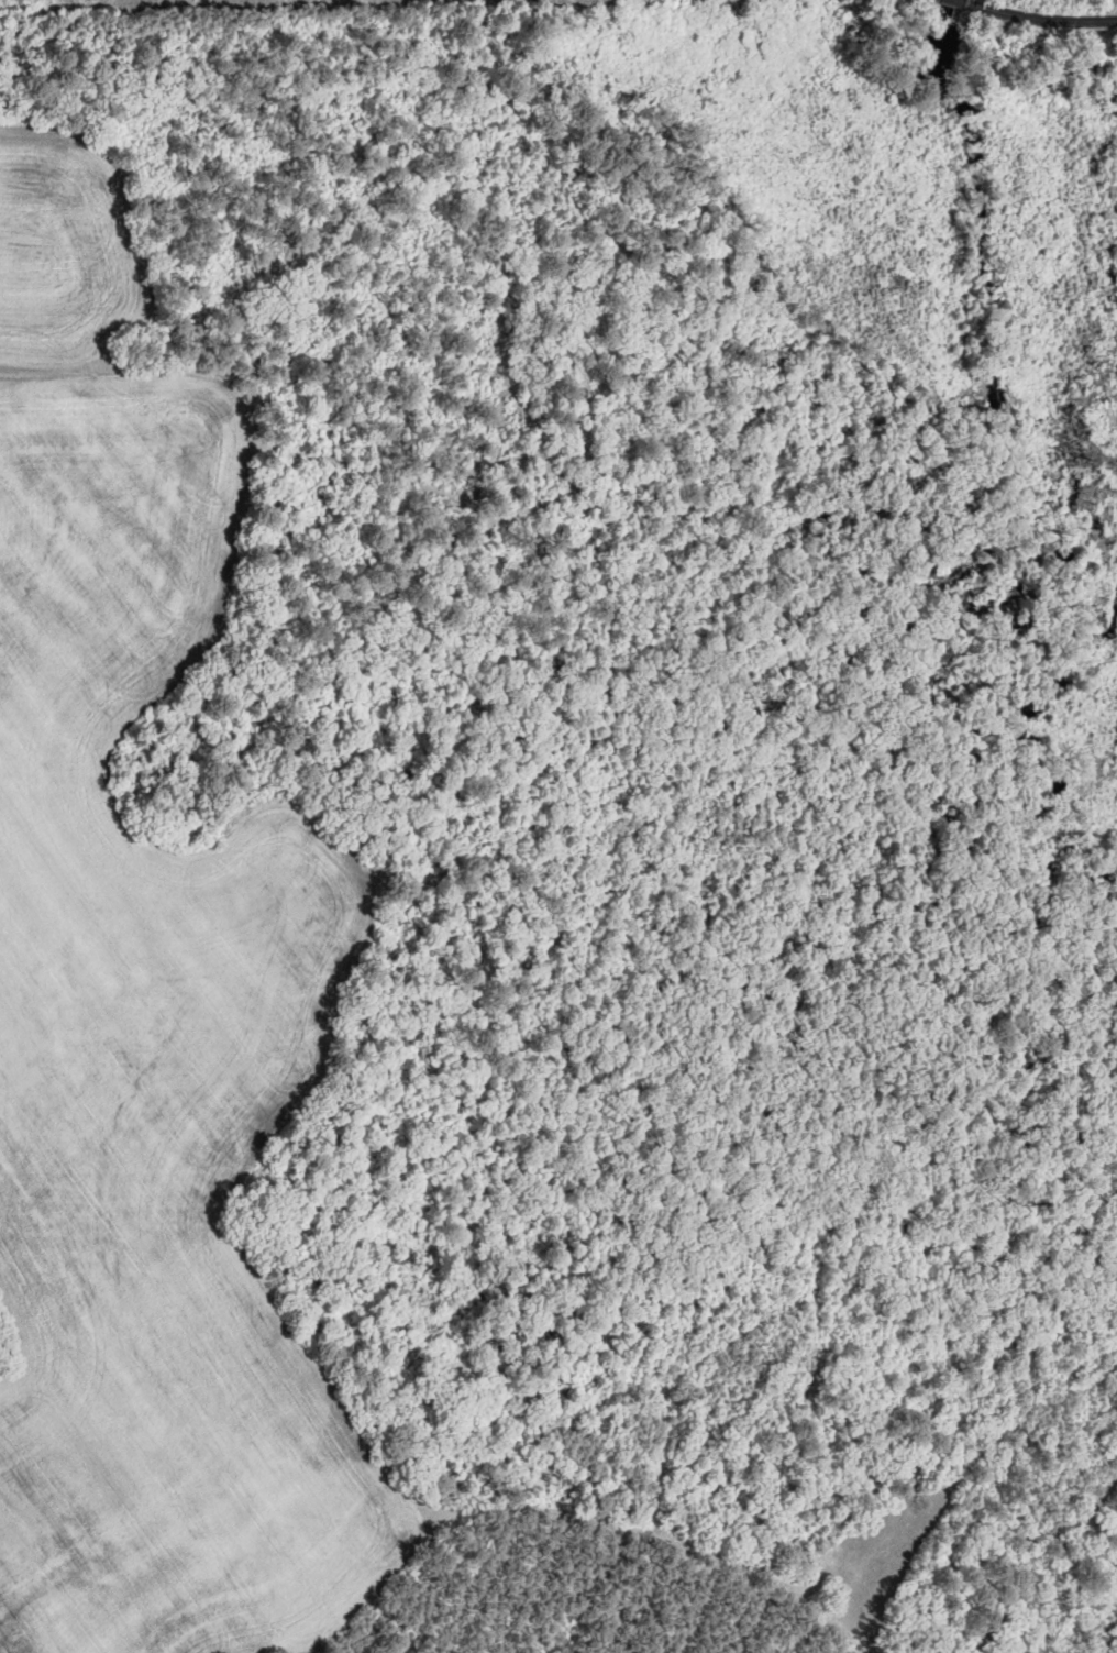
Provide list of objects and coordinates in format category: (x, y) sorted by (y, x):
road: (962, 1)
road: (1042, 19)

